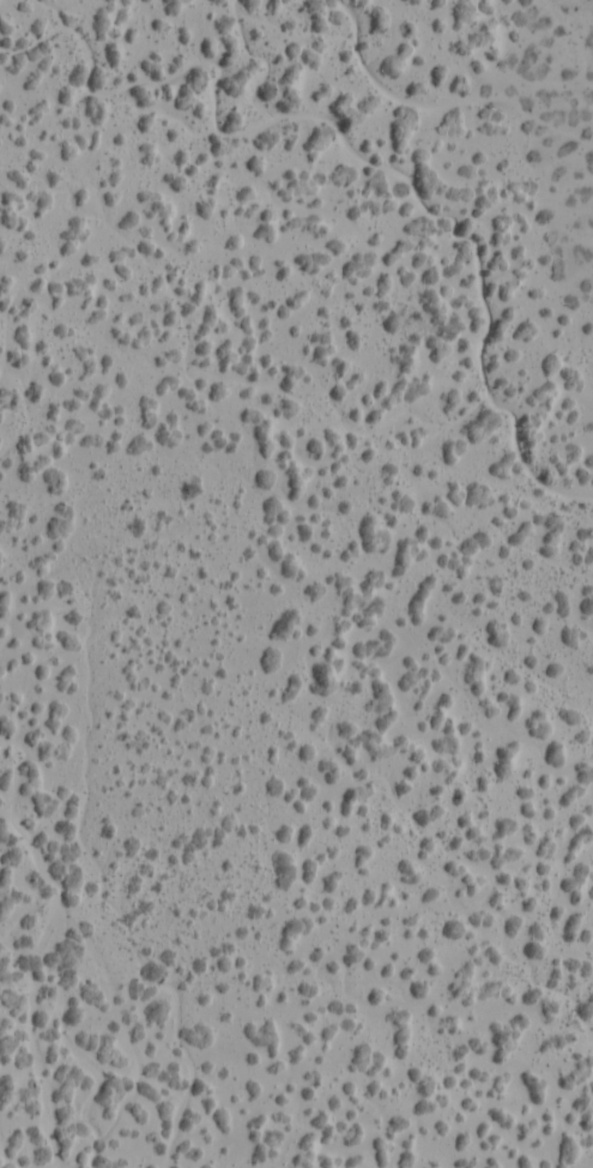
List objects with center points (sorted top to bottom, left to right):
building: (141, 311)
building: (317, 319)
building: (416, 758)
building: (514, 926)

